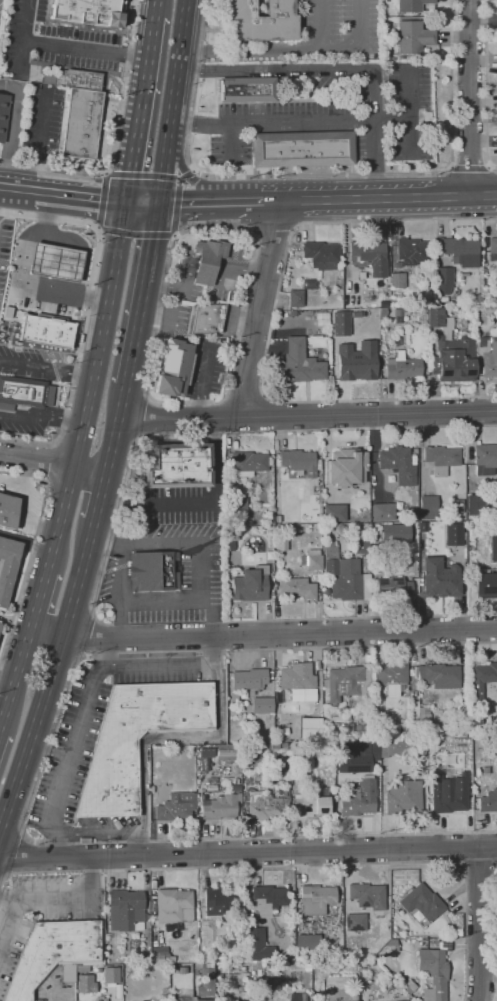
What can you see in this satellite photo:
building: (411, 5)
road: (157, 8)
building: (86, 12)
building: (262, 20)
road: (363, 23)
road: (320, 24)
road: (24, 37)
building: (413, 37)
road: (86, 48)
road: (271, 49)
road: (298, 69)
building: (74, 79)
road: (487, 86)
building: (245, 90)
road: (469, 97)
road: (171, 102)
road: (141, 110)
building: (3, 114)
building: (80, 123)
road: (309, 123)
road: (13, 128)
road: (117, 140)
road: (39, 141)
building: (301, 149)
road: (471, 165)
traffic signals: (132, 170)
road: (320, 175)
road: (18, 188)
road: (82, 196)
traffic signals: (98, 198)
road: (379, 198)
road: (103, 199)
road: (210, 202)
traffic signals: (182, 204)
road: (143, 205)
traffic signals: (153, 240)
building: (492, 249)
building: (411, 251)
building: (459, 251)
building: (321, 255)
building: (369, 256)
building: (207, 260)
building: (55, 261)
road: (20, 277)
building: (397, 281)
building: (443, 282)
building: (310, 284)
road: (142, 297)
road: (163, 297)
building: (295, 298)
building: (492, 300)
building: (396, 301)
road: (259, 309)
building: (398, 313)
road: (85, 315)
parking lot: (175, 317)
building: (436, 317)
building: (205, 319)
building: (340, 323)
road: (273, 327)
building: (46, 330)
building: (454, 359)
building: (490, 359)
building: (357, 361)
building: (299, 364)
building: (402, 367)
road: (48, 368)
parking lot: (205, 368)
building: (173, 369)
road: (203, 384)
road: (94, 388)
building: (22, 392)
road: (246, 395)
road: (269, 414)
road: (42, 416)
road: (308, 416)
road: (115, 430)
road: (212, 434)
building: (440, 459)
building: (485, 459)
building: (298, 462)
road: (49, 463)
road: (52, 463)
building: (247, 463)
building: (318, 465)
building: (177, 466)
building: (397, 466)
building: (346, 467)
road: (98, 502)
building: (475, 504)
building: (238, 507)
building: (428, 507)
building: (455, 507)
building: (8, 511)
building: (382, 512)
building: (496, 512)
building: (334, 513)
building: (412, 515)
building: (395, 534)
building: (452, 534)
building: (232, 539)
road: (28, 540)
road: (106, 541)
road: (160, 544)
building: (360, 545)
building: (493, 548)
road: (31, 549)
building: (311, 562)
building: (7, 567)
building: (153, 571)
road: (122, 574)
building: (344, 575)
building: (440, 578)
building: (324, 583)
building: (250, 584)
building: (485, 586)
building: (297, 588)
building: (393, 588)
building: (325, 591)
road: (39, 599)
road: (170, 601)
road: (212, 615)
road: (363, 617)
road: (263, 634)
road: (170, 665)
building: (439, 675)
road: (16, 677)
building: (373, 677)
building: (392, 678)
building: (249, 679)
building: (298, 679)
building: (481, 679)
road: (48, 680)
building: (347, 682)
road: (5, 694)
building: (496, 695)
building: (262, 705)
building: (332, 708)
road: (3, 709)
building: (334, 713)
building: (424, 714)
building: (475, 723)
building: (335, 725)
building: (350, 726)
building: (310, 728)
building: (360, 728)
building: (457, 728)
building: (405, 729)
building: (280, 730)
road: (170, 737)
road: (69, 745)
building: (274, 747)
building: (374, 748)
building: (401, 748)
road: (46, 751)
building: (226, 752)
road: (40, 771)
building: (110, 777)
building: (231, 781)
building: (448, 793)
building: (403, 797)
building: (359, 799)
building: (488, 802)
building: (311, 803)
building: (264, 806)
building: (174, 807)
building: (220, 807)
road: (95, 832)
road: (137, 844)
road: (248, 852)
road: (295, 867)
road: (479, 868)
building: (367, 896)
road: (73, 899)
building: (316, 899)
building: (268, 900)
building: (220, 901)
building: (422, 903)
building: (171, 905)
building: (125, 911)
road: (12, 918)
building: (355, 922)
road: (480, 923)
building: (457, 932)
building: (391, 943)
building: (258, 946)
building: (307, 947)
building: (352, 949)
building: (157, 953)
building: (54, 954)
building: (229, 956)
building: (158, 959)
building: (182, 971)
building: (433, 973)
building: (110, 974)
building: (206, 980)
building: (274, 980)
building: (84, 983)
building: (410, 985)
building: (117, 990)
road: (54, 992)
building: (260, 994)
building: (248, 996)
building: (294, 997)
building: (354, 998)
building: (185, 999)
building: (205, 1000)
building: (363, 1000)

